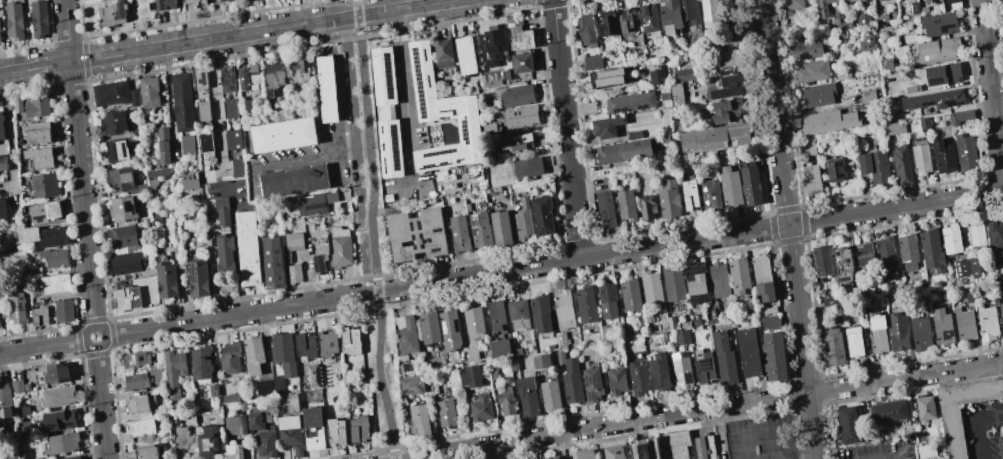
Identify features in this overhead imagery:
building: (225, 0)
building: (882, 0)
building: (195, 1)
building: (849, 1)
building: (165, 4)
building: (954, 4)
building: (793, 5)
building: (823, 6)
building: (729, 7)
building: (914, 7)
road: (355, 8)
building: (924, 9)
road: (331, 10)
building: (691, 11)
building: (112, 13)
building: (709, 13)
building: (670, 16)
building: (882, 18)
building: (40, 19)
building: (627, 19)
building: (649, 19)
building: (838, 19)
building: (863, 19)
building: (15, 22)
building: (607, 24)
building: (939, 24)
rooftop solar panel: (944, 27)
building: (585, 28)
building: (734, 32)
road: (229, 36)
building: (521, 38)
building: (908, 38)
building: (0, 40)
building: (866, 43)
building: (494, 45)
building: (808, 49)
building: (940, 49)
building: (445, 53)
building: (465, 55)
building: (725, 59)
building: (592, 61)
building: (522, 63)
building: (886, 64)
building: (299, 70)
building: (812, 71)
building: (684, 74)
building: (942, 74)
rooftop solar panel: (226, 76)
building: (657, 76)
building: (248, 77)
building: (273, 77)
building: (607, 77)
building: (386, 78)
building: (493, 78)
building: (199, 79)
building: (227, 79)
rooftop solar panel: (936, 79)
rooftop solar panel: (202, 80)
building: (728, 87)
building: (326, 89)
building: (912, 89)
building: (149, 91)
building: (110, 93)
building: (676, 94)
building: (868, 94)
building: (517, 95)
building: (815, 95)
road: (991, 95)
building: (133, 97)
road: (405, 99)
building: (934, 99)
building: (629, 101)
building: (182, 102)
rooftop solar panel: (927, 102)
rooftop solar panel: (952, 102)
building: (17, 105)
building: (37, 106)
road: (215, 106)
rooftop solar panel: (642, 106)
building: (229, 108)
rooftop solar panel: (620, 110)
building: (727, 110)
building: (203, 111)
building: (443, 113)
building: (521, 116)
building: (960, 116)
road: (352, 121)
building: (828, 121)
building: (113, 122)
building: (923, 122)
building: (607, 126)
building: (1, 127)
building: (893, 128)
building: (489, 129)
road: (567, 129)
building: (138, 132)
building: (39, 133)
building: (284, 134)
building: (633, 134)
building: (714, 137)
building: (232, 139)
building: (205, 142)
building: (512, 143)
building: (162, 144)
building: (186, 144)
building: (116, 150)
building: (392, 150)
building: (621, 151)
building: (809, 151)
building: (965, 151)
road: (303, 157)
building: (943, 157)
building: (39, 158)
building: (921, 158)
road: (79, 162)
building: (3, 163)
building: (901, 165)
building: (874, 166)
building: (527, 167)
building: (237, 168)
building: (834, 169)
building: (158, 172)
rooftop solar panel: (127, 177)
building: (811, 179)
building: (123, 181)
building: (189, 181)
building: (294, 181)
road: (444, 182)
building: (44, 185)
building: (750, 186)
building: (730, 188)
building: (710, 194)
building: (689, 195)
building: (668, 199)
building: (314, 203)
building: (626, 204)
rooftop solar panel: (313, 206)
building: (646, 207)
building: (2, 208)
building: (122, 208)
building: (606, 209)
building: (221, 210)
building: (44, 212)
road: (364, 213)
building: (542, 215)
rooftop solar panel: (474, 217)
building: (523, 220)
park: (368, 225)
rooftop solar panel: (475, 225)
building: (501, 228)
building: (480, 229)
road: (789, 229)
rooftop solar panel: (437, 230)
rooftop solar panel: (475, 230)
building: (995, 232)
building: (459, 233)
building: (416, 234)
building: (976, 234)
building: (40, 236)
building: (123, 236)
road: (372, 237)
building: (293, 240)
building: (951, 240)
building: (131, 248)
building: (247, 248)
building: (340, 248)
building: (931, 248)
road: (236, 249)
building: (119, 250)
rooftop solar panel: (435, 250)
building: (907, 252)
building: (224, 253)
building: (864, 254)
building: (885, 255)
building: (998, 257)
building: (54, 258)
building: (320, 258)
building: (822, 261)
building: (126, 262)
building: (272, 262)
road: (554, 263)
building: (842, 264)
building: (974, 267)
building: (961, 268)
building: (1001, 268)
building: (148, 270)
rooftop solar panel: (191, 272)
building: (293, 273)
building: (738, 276)
building: (197, 278)
building: (762, 278)
building: (166, 279)
building: (720, 282)
building: (54, 283)
building: (696, 283)
building: (673, 284)
building: (650, 288)
building: (944, 294)
building: (630, 295)
building: (969, 297)
building: (126, 298)
building: (608, 301)
building: (828, 301)
building: (585, 305)
building: (15, 306)
building: (563, 309)
building: (62, 310)
building: (1001, 313)
building: (495, 314)
building: (518, 314)
building: (540, 315)
building: (39, 316)
building: (712, 320)
building: (473, 322)
building: (696, 322)
building: (987, 322)
building: (448, 323)
building: (671, 323)
building: (770, 323)
building: (965, 324)
building: (684, 325)
building: (941, 326)
building: (429, 327)
building: (628, 331)
building: (606, 332)
building: (898, 332)
building: (919, 333)
building: (877, 334)
road: (106, 335)
building: (682, 337)
building: (406, 338)
building: (560, 339)
building: (659, 339)
building: (350, 340)
building: (854, 341)
building: (327, 343)
road: (41, 345)
building: (304, 345)
building: (833, 346)
building: (499, 347)
building: (748, 352)
building: (253, 354)
rooftop solar panel: (201, 355)
building: (472, 355)
building: (773, 356)
building: (229, 357)
building: (560, 357)
rooftop solar panel: (139, 358)
building: (724, 358)
building: (135, 359)
rooftop solar panel: (135, 359)
building: (282, 359)
building: (537, 360)
building: (201, 363)
building: (513, 364)
building: (704, 365)
rooftop solar panel: (705, 365)
building: (411, 366)
building: (174, 367)
building: (401, 367)
building: (681, 369)
building: (493, 371)
building: (659, 371)
building: (56, 373)
building: (156, 375)
building: (312, 376)
building: (471, 376)
building: (638, 377)
building: (615, 378)
building: (136, 381)
building: (572, 381)
building: (592, 383)
building: (411, 384)
building: (16, 386)
building: (432, 386)
building: (263, 388)
building: (213, 390)
building: (5, 394)
building: (549, 394)
building: (526, 396)
building: (57, 397)
building: (230, 398)
building: (291, 402)
building: (506, 402)
road: (101, 403)
building: (141, 403)
building: (926, 408)
building: (481, 409)
road: (704, 410)
building: (889, 411)
building: (445, 413)
building: (5, 418)
building: (258, 418)
building: (419, 419)
building: (59, 420)
building: (950, 421)
rooftop solar panel: (52, 424)
rooftop solar panel: (67, 424)
building: (848, 424)
building: (234, 425)
road: (978, 426)
building: (141, 427)
building: (313, 428)
building: (358, 428)
parking lot: (982, 428)
building: (335, 431)
building: (163, 433)
building: (290, 433)
road: (767, 433)
parking lot: (758, 438)
road: (998, 438)
building: (207, 439)
building: (62, 443)
building: (265, 443)
building: (677, 444)
building: (704, 447)
building: (645, 449)
parking lot: (881, 450)
building: (234, 451)
building: (146, 452)
building: (613, 452)
building: (927, 452)
building: (24, 454)
building: (585, 454)
road: (796, 456)
building: (71, 457)
building: (11, 458)
road: (418, 458)
building: (553, 458)

